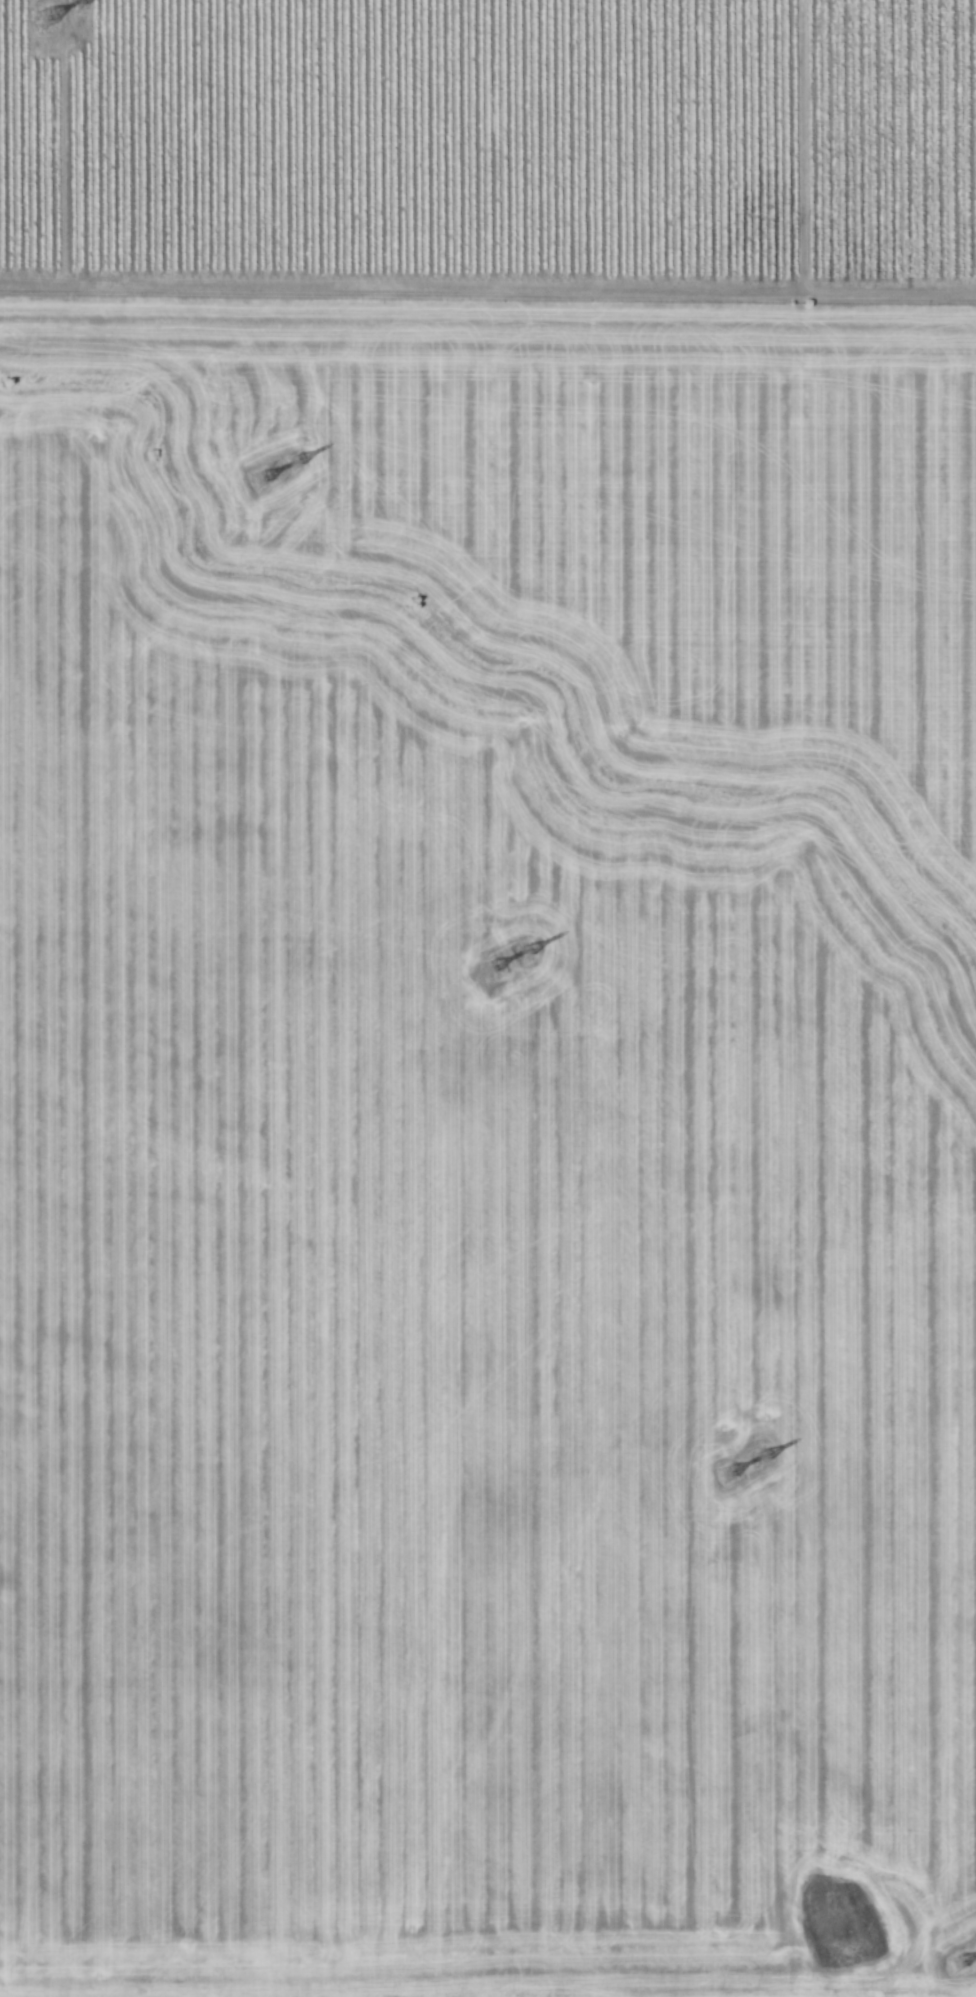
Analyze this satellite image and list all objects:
power tower: (75, 1)
power tower: (41, 16)
power tower: (293, 462)
power tower: (258, 479)
power tower: (523, 951)
power tower: (488, 966)
power tower: (761, 1457)
power tower: (725, 1474)
power tower: (955, 1964)

